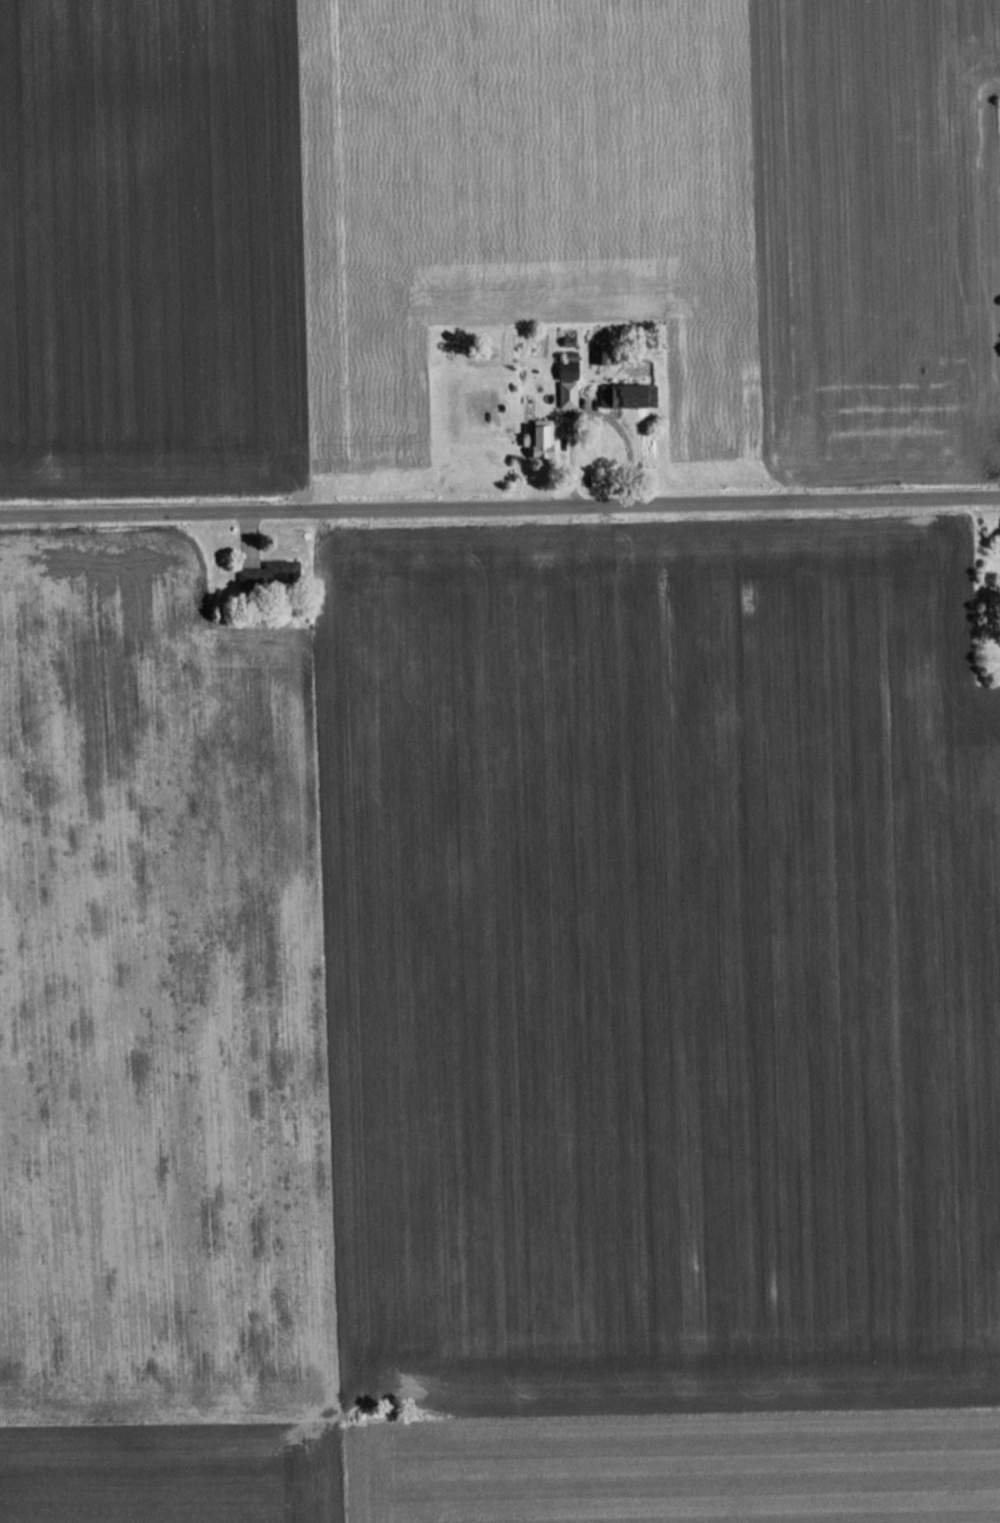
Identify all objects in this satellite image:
crop: (349, 223)
crop: (873, 229)
building: (601, 354)
building: (602, 394)
road: (500, 502)
crop: (488, 995)
crop: (675, 1467)

